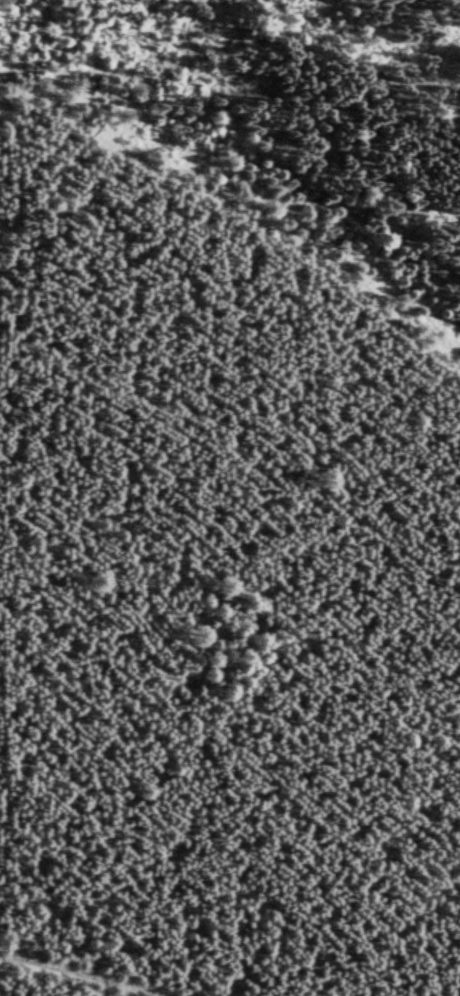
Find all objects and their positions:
road: (79, 977)

